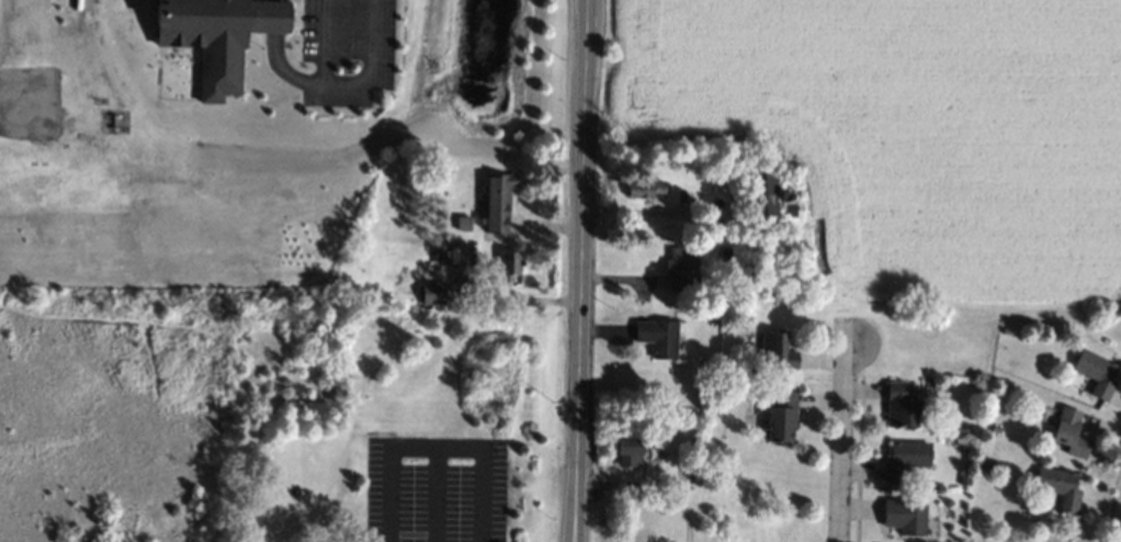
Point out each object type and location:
building: (210, 38)
road: (321, 41)
road: (327, 81)
crop: (899, 132)
building: (645, 188)
building: (768, 197)
building: (498, 201)
building: (464, 223)
building: (458, 256)
building: (506, 268)
building: (681, 269)
road: (582, 271)
building: (434, 290)
building: (1007, 331)
building: (658, 337)
building: (777, 350)
building: (712, 361)
building: (1096, 373)
building: (755, 376)
building: (898, 405)
building: (782, 416)
building: (961, 428)
building: (996, 429)
building: (1071, 432)
building: (677, 439)
road: (847, 442)
road: (430, 445)
building: (629, 453)
building: (905, 458)
building: (989, 464)
building: (964, 479)
building: (1060, 487)
building: (906, 516)

